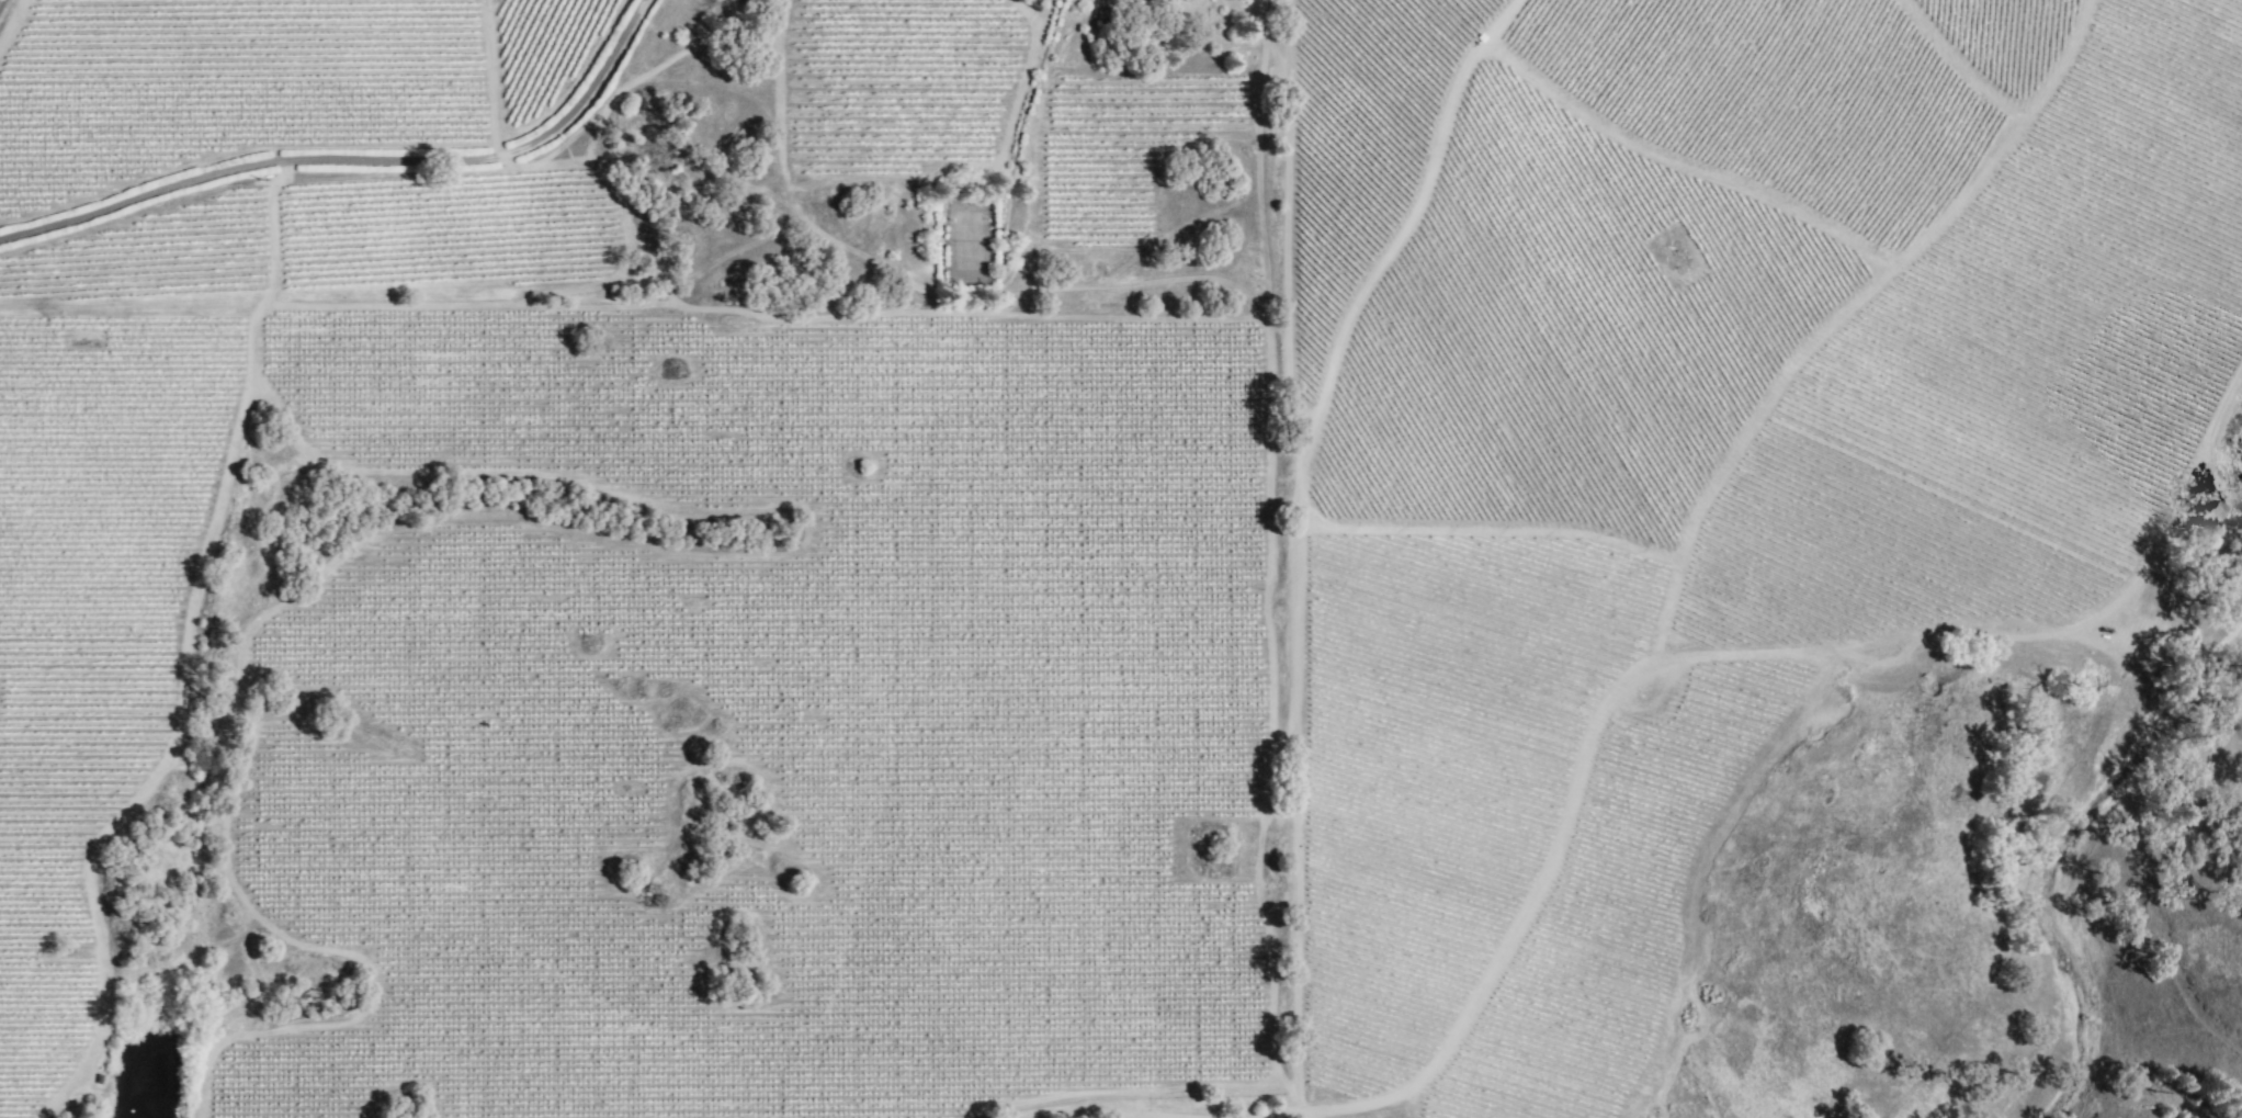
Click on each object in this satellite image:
road: (354, 160)
road: (1182, 1116)

